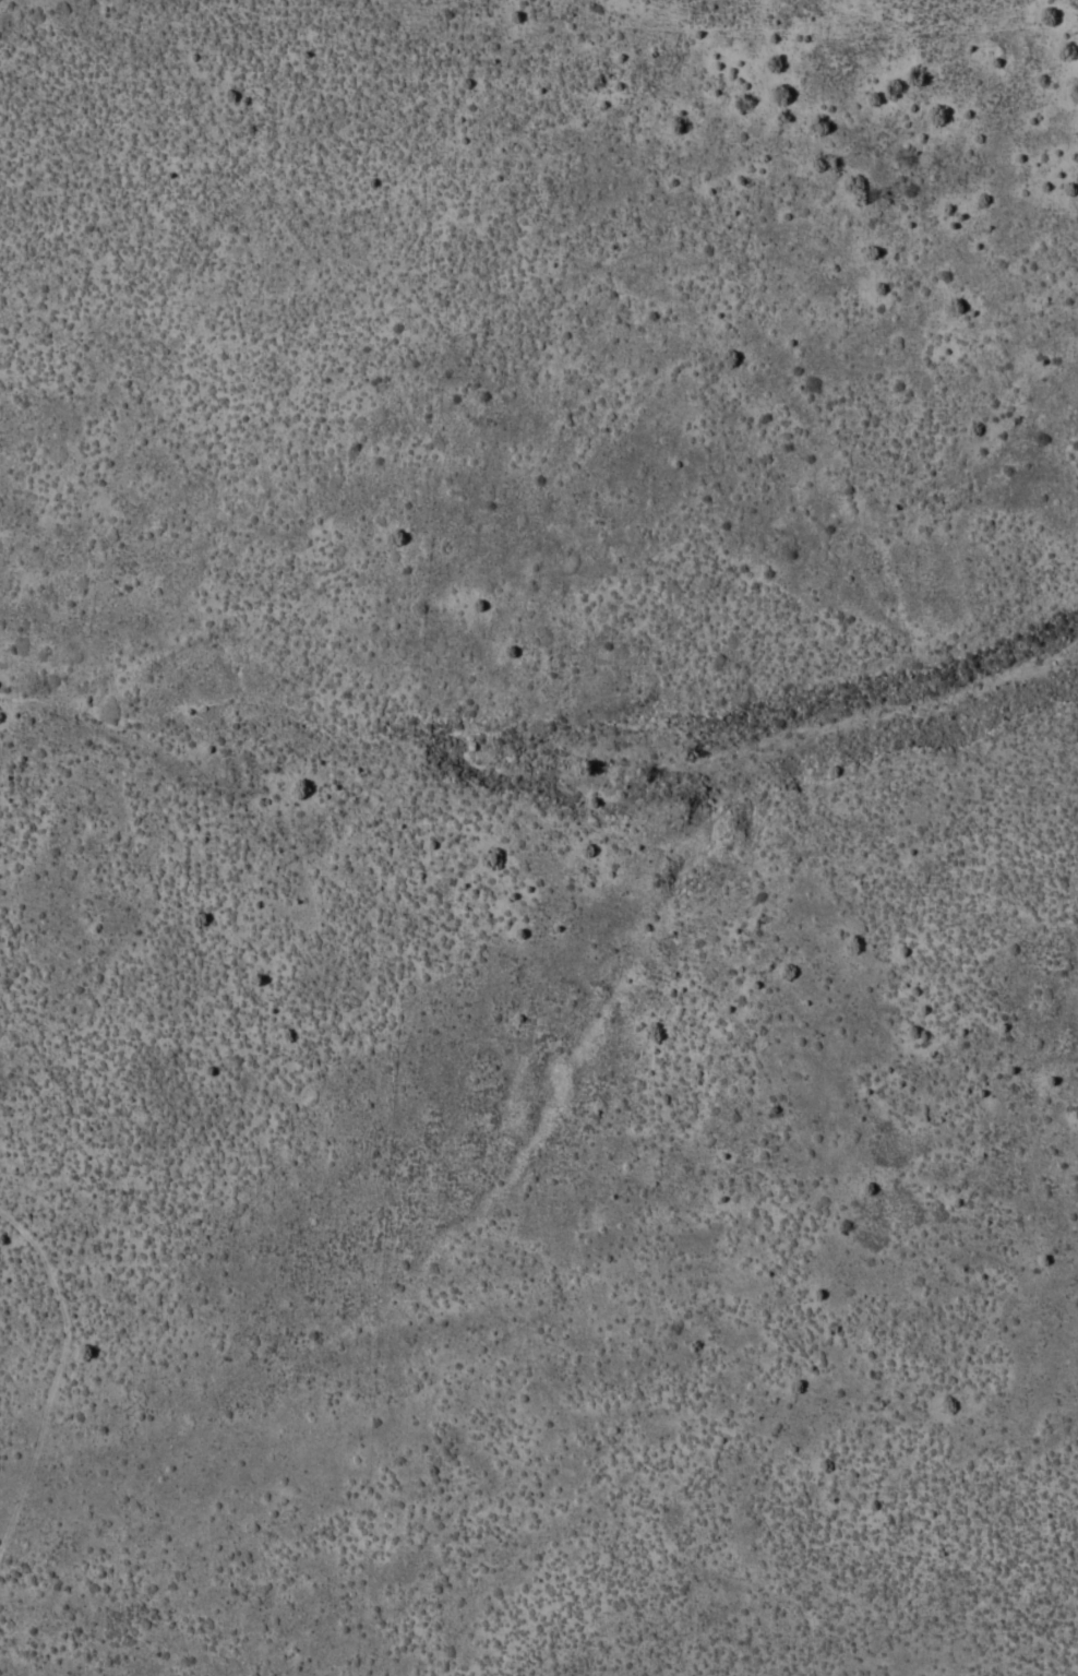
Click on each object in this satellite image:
road: (51, 1401)

